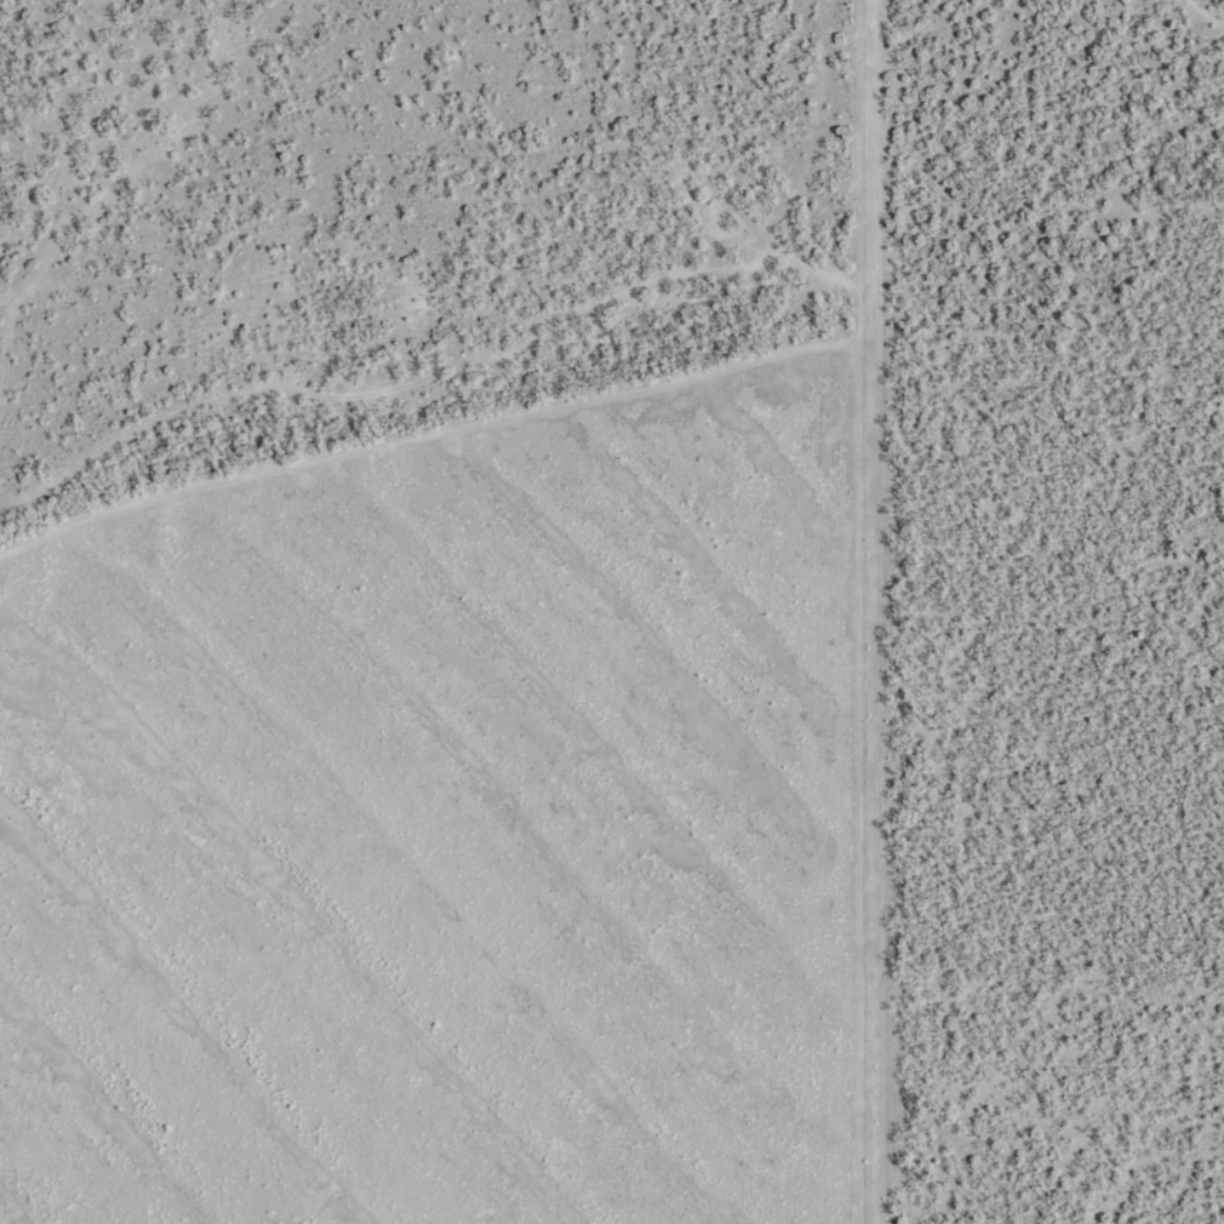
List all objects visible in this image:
road: (1030, 508)
road: (650, 801)
road: (68, 848)

